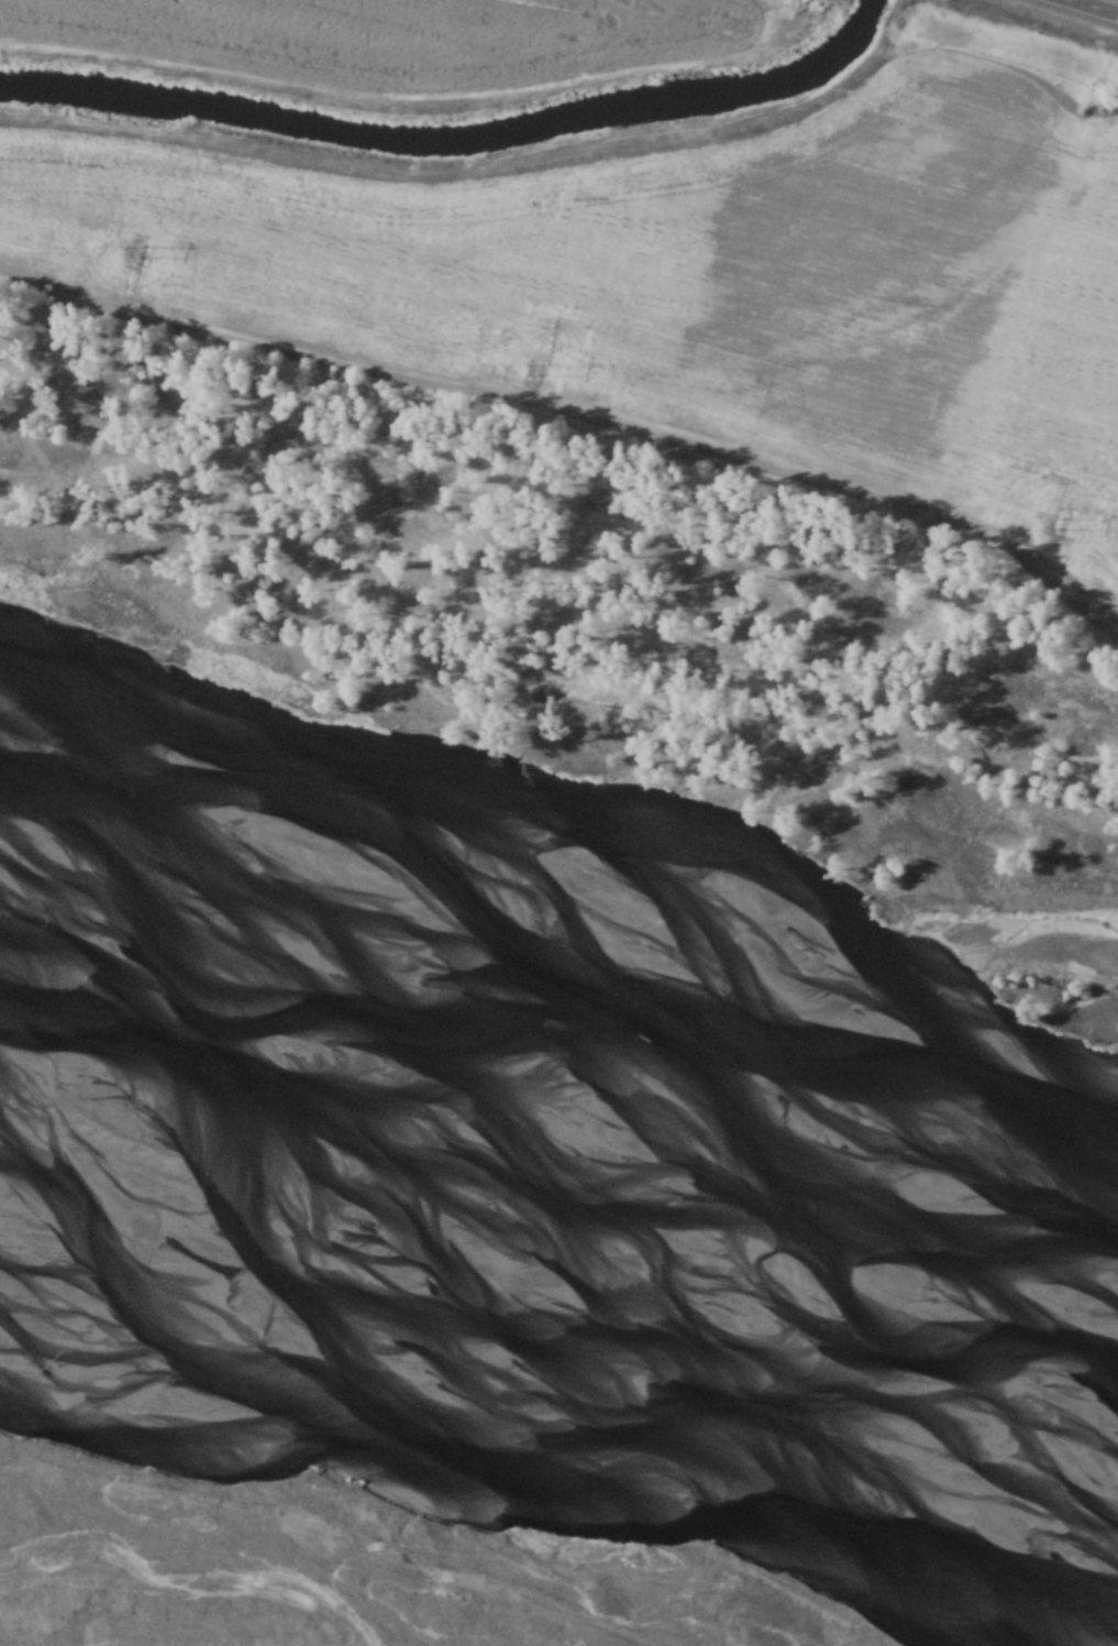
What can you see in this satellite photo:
road: (1095, 6)
power tower: (140, 254)
power tower: (539, 372)
power tower: (1060, 525)
river: (523, 1325)

